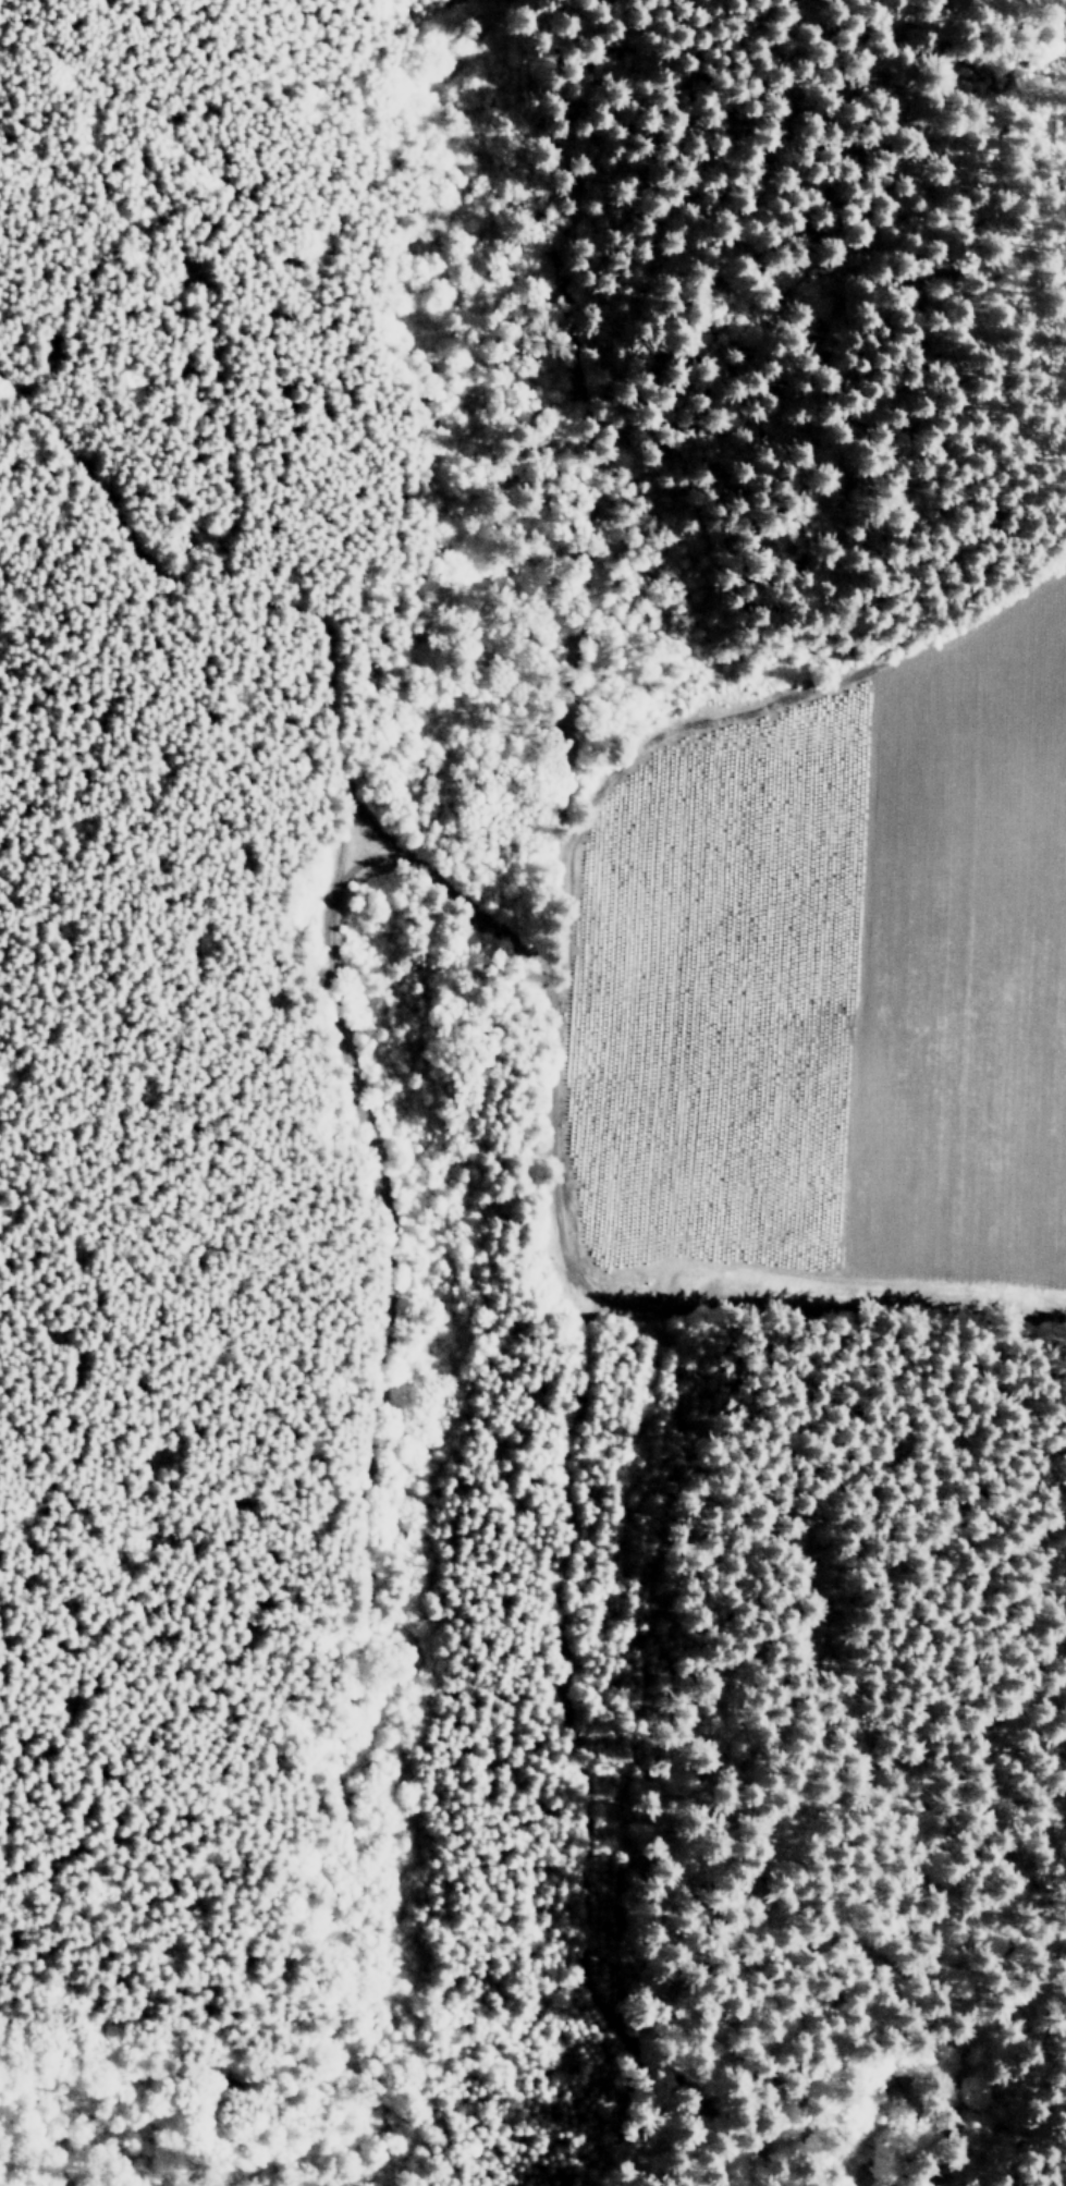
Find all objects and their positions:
crop: (833, 966)

